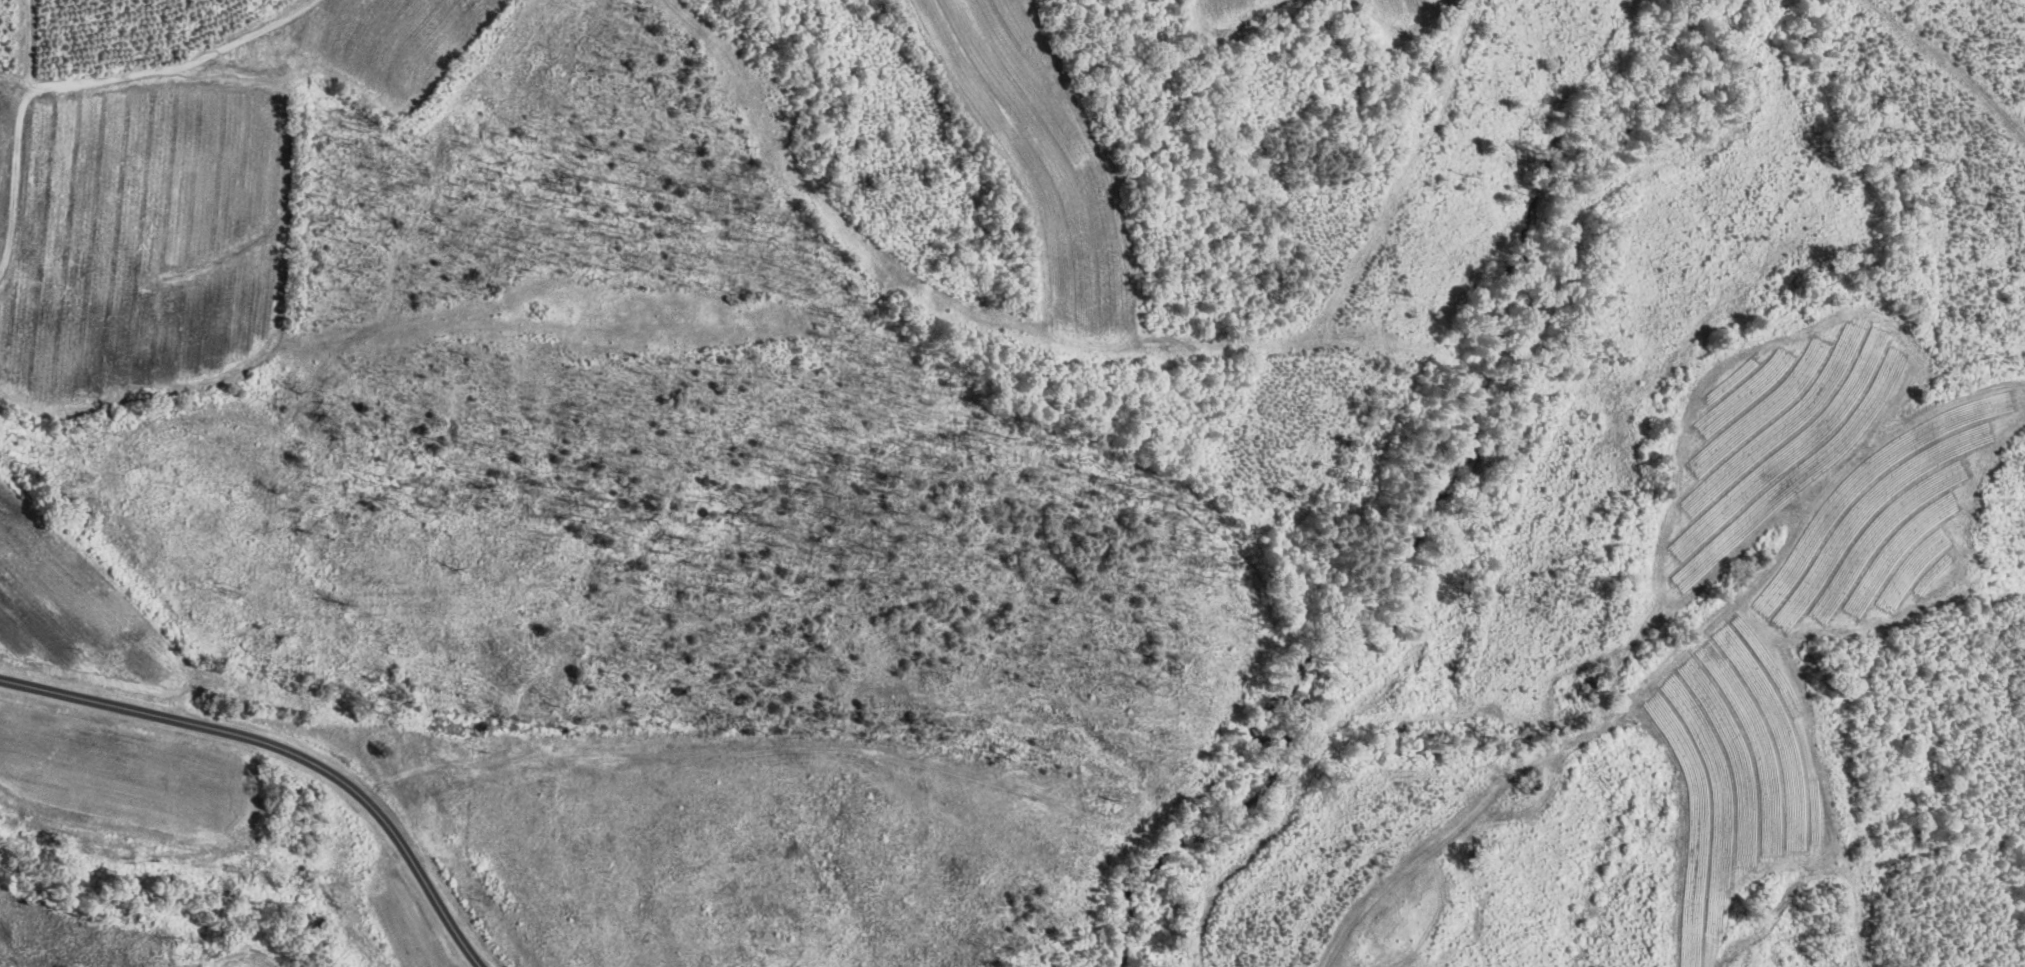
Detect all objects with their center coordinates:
road: (1665, 668)
road: (286, 750)

